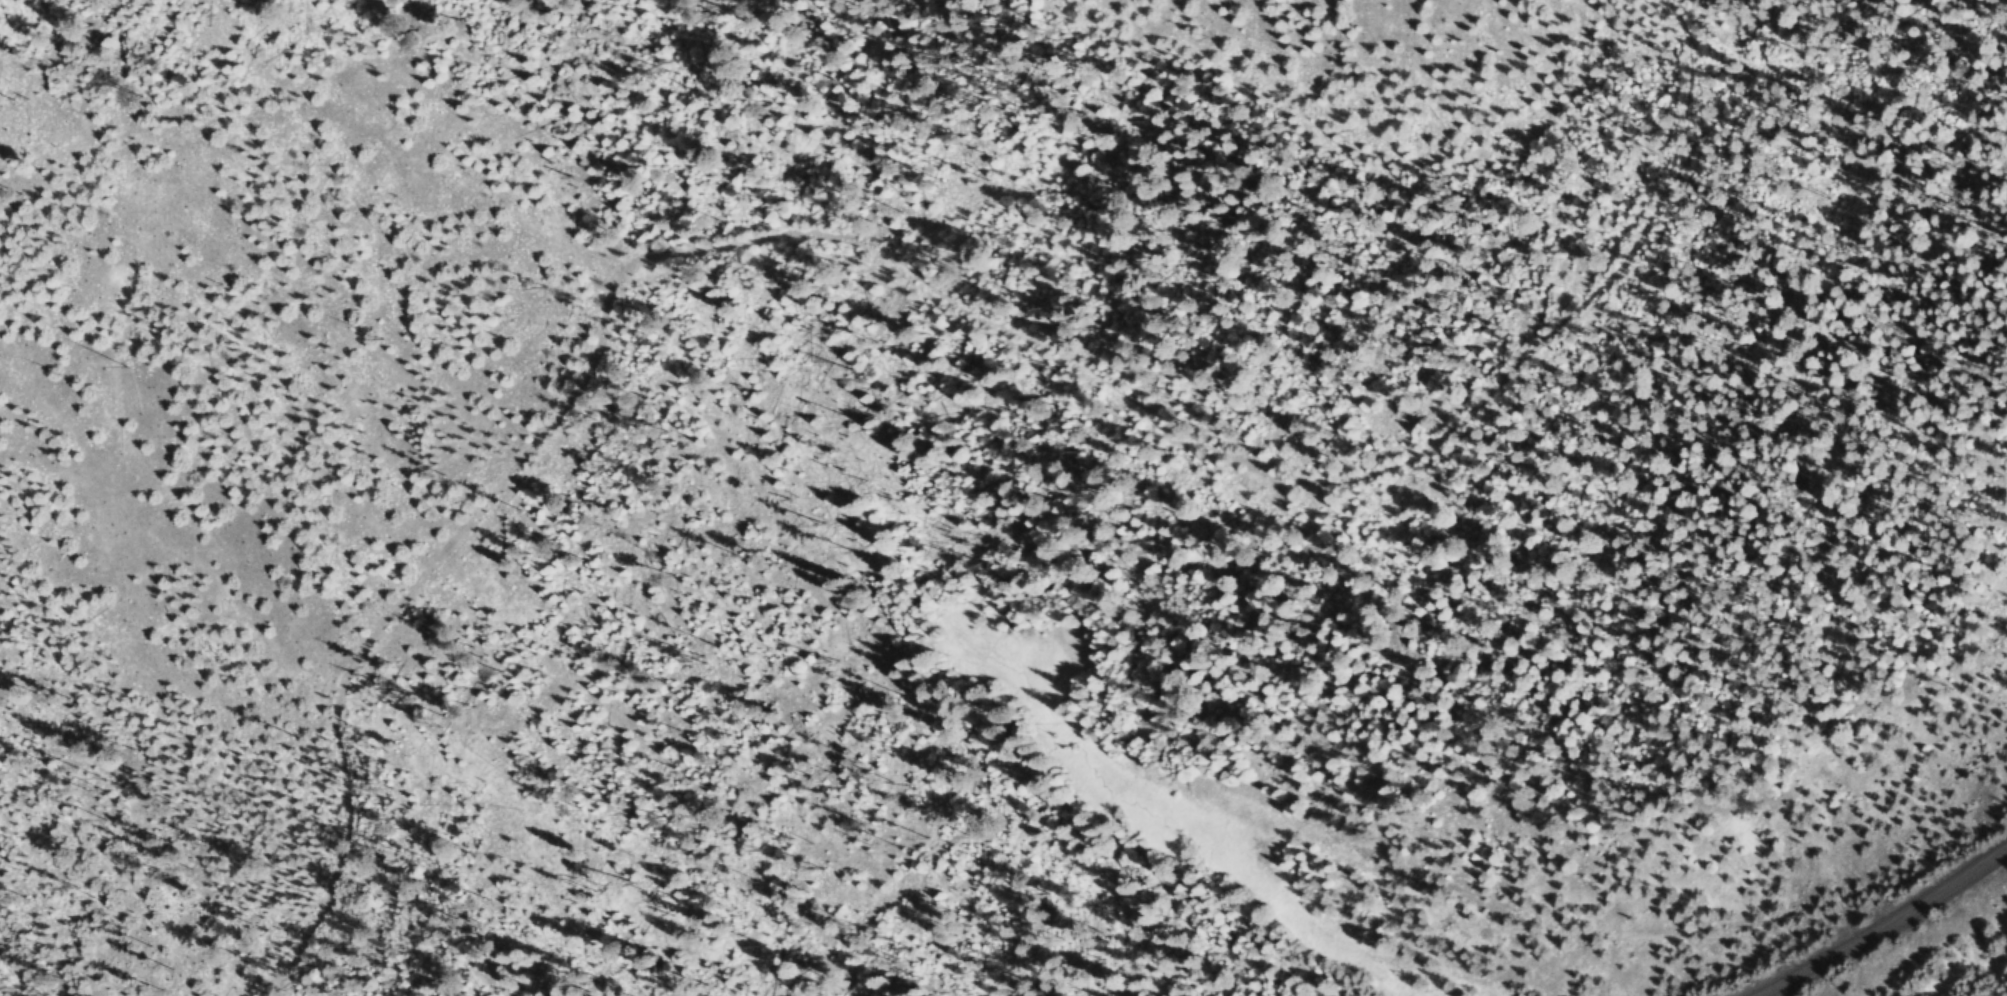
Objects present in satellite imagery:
road: (1886, 923)

